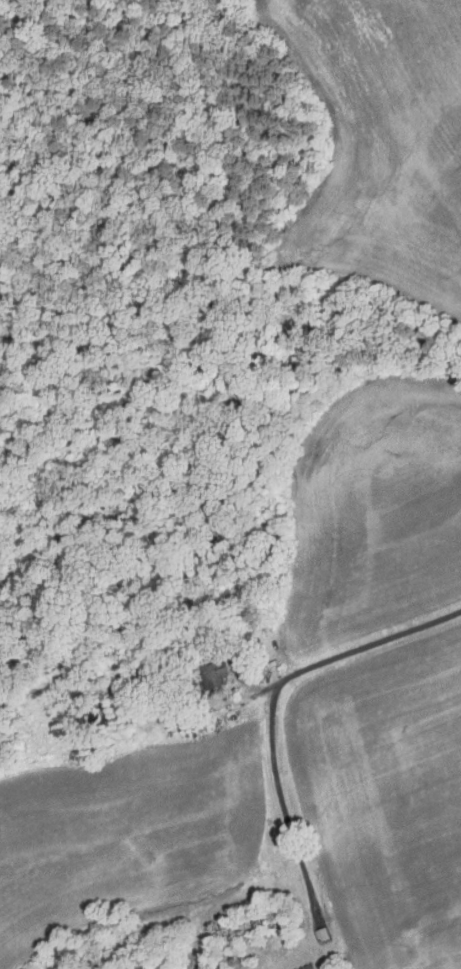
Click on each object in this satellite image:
building: (217, 672)
road: (278, 711)
building: (309, 966)

